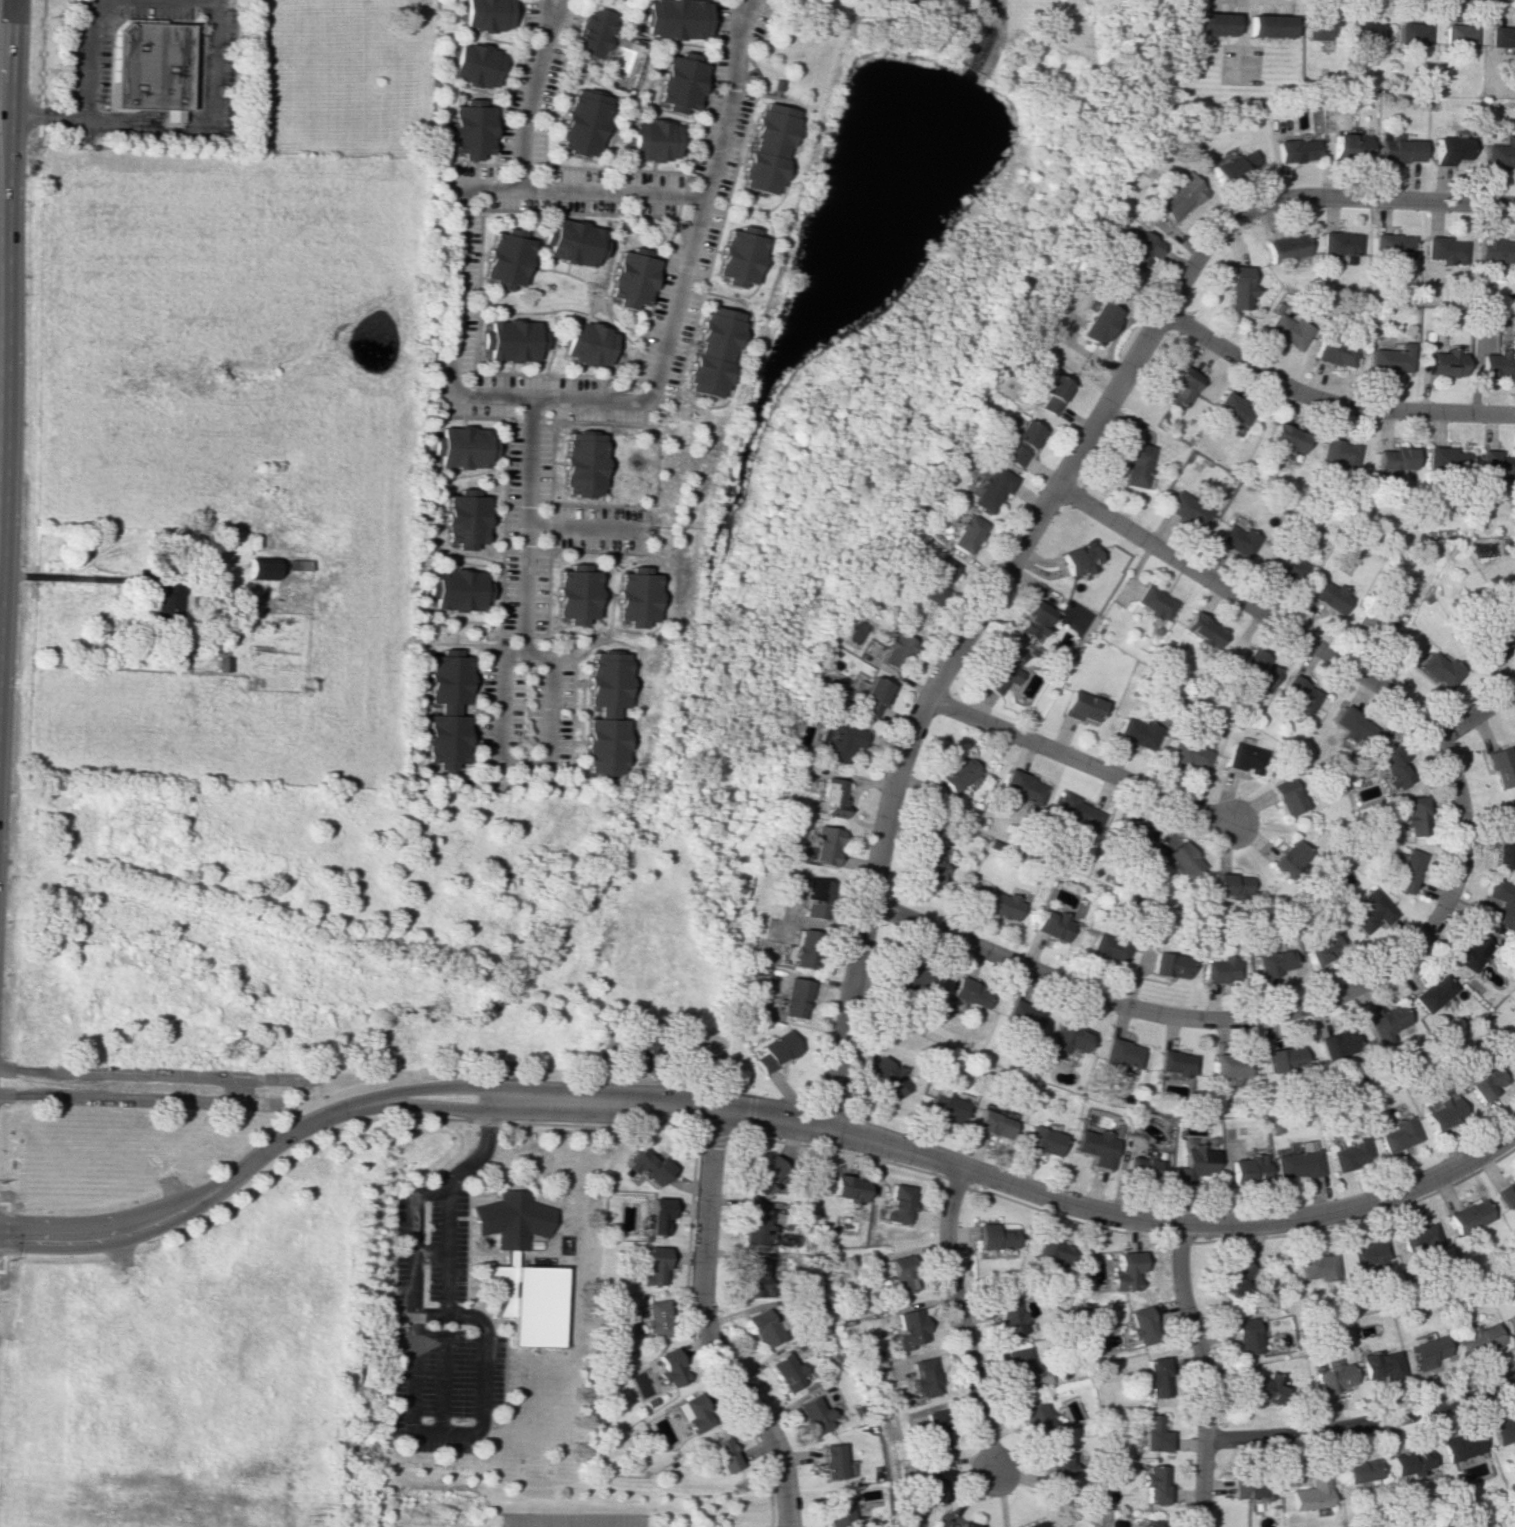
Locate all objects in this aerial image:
road: (551, 3)
road: (744, 4)
parking lot: (159, 9)
building: (483, 13)
building: (672, 18)
parking lot: (228, 25)
building: (1209, 28)
building: (1267, 29)
building: (1318, 32)
building: (588, 33)
building: (1366, 35)
building: (998, 36)
building: (1415, 37)
building: (1458, 37)
building: (1500, 39)
parking lot: (88, 54)
building: (472, 65)
building: (150, 67)
road: (40, 69)
parking lot: (227, 70)
parking lot: (532, 78)
building: (678, 83)
dam: (978, 83)
road: (530, 92)
road: (729, 97)
parking lot: (225, 112)
road: (42, 118)
building: (577, 123)
road: (1, 124)
road: (149, 128)
building: (468, 131)
building: (650, 140)
building: (1342, 143)
building: (765, 148)
building: (1288, 148)
building: (1395, 149)
building: (1447, 150)
building: (1500, 154)
road: (2, 161)
building: (1234, 165)
parking lot: (701, 199)
road: (1388, 199)
building: (1173, 201)
building: (571, 241)
building: (1335, 245)
building: (1389, 245)
building: (1440, 246)
building: (1490, 246)
building: (1280, 249)
building: (1134, 253)
building: (737, 256)
building: (503, 259)
building: (630, 279)
building: (1237, 287)
building: (1092, 324)
building: (1284, 331)
building: (508, 340)
building: (584, 345)
building: (711, 352)
building: (1331, 352)
building: (1379, 360)
building: (1438, 363)
building: (1493, 365)
road: (451, 368)
building: (1178, 389)
building: (1051, 398)
road: (1327, 403)
building: (1228, 411)
building: (1015, 440)
building: (1284, 440)
parking lot: (526, 443)
building: (460, 447)
building: (1335, 452)
building: (1445, 455)
building: (1389, 456)
building: (1494, 462)
building: (579, 463)
building: (1138, 464)
building: (991, 488)
building: (1186, 509)
building: (461, 519)
road: (575, 526)
building: (965, 532)
building: (1236, 540)
building: (1081, 559)
building: (298, 564)
building: (259, 568)
building: (1290, 571)
building: (935, 575)
building: (454, 591)
building: (570, 593)
building: (629, 594)
building: (1330, 596)
building: (1154, 602)
building: (167, 607)
building: (1513, 609)
building: (1034, 619)
building: (1376, 621)
building: (1202, 629)
road: (968, 630)
building: (1494, 645)
building: (884, 648)
road: (540, 658)
road: (1343, 662)
building: (1003, 668)
building: (1257, 671)
building: (1441, 671)
building: (1297, 694)
building: (866, 696)
building: (1082, 706)
parking lot: (523, 709)
building: (443, 710)
building: (601, 712)
road: (1475, 714)
building: (1351, 724)
building: (1138, 732)
building: (842, 740)
building: (1187, 753)
building: (1244, 758)
road: (1080, 763)
building: (1500, 766)
building: (1391, 768)
building: (956, 773)
building: (1022, 787)
building: (1286, 796)
building: (830, 797)
building: (1076, 813)
building: (1415, 815)
building: (1128, 830)
building: (821, 845)
building: (1506, 847)
building: (1289, 858)
building: (1183, 859)
building: (931, 865)
building: (1407, 871)
building: (1230, 885)
building: (809, 895)
building: (1503, 902)
building: (1002, 905)
building: (1371, 911)
building: (1324, 947)
building: (800, 948)
building: (1111, 949)
building: (1471, 952)
building: (1274, 962)
building: (1170, 965)
building: (1221, 969)
road: (1030, 970)
building: (910, 977)
building: (970, 992)
building: (1433, 993)
building: (794, 998)
road: (1319, 1004)
building: (1022, 1016)
building: (1387, 1022)
building: (1068, 1037)
building: (1337, 1045)
building: (753, 1049)
building: (774, 1050)
building: (1120, 1053)
building: (1512, 1058)
building: (1285, 1059)
building: (1175, 1062)
building: (1230, 1065)
building: (886, 1077)
building: (1487, 1082)
road: (542, 1094)
building: (946, 1105)
road: (542, 1110)
building: (1444, 1111)
building: (992, 1124)
building: (1399, 1134)
building: (1042, 1140)
road: (484, 1145)
building: (1095, 1147)
building: (1349, 1155)
building: (1194, 1162)
building: (1298, 1162)
road: (946, 1164)
building: (648, 1166)
building: (1143, 1166)
building: (1247, 1168)
building: (765, 1173)
building: (847, 1188)
road: (194, 1191)
building: (1507, 1194)
road: (429, 1195)
road: (1355, 1207)
building: (657, 1216)
building: (1469, 1216)
building: (755, 1226)
building: (994, 1237)
building: (1420, 1239)
building: (1051, 1252)
building: (1369, 1253)
building: (654, 1266)
building: (1318, 1266)
building: (520, 1270)
building: (1125, 1271)
building: (750, 1277)
building: (1233, 1277)
road: (410, 1312)
road: (459, 1315)
building: (1009, 1315)
building: (656, 1318)
road: (959, 1318)
building: (1511, 1321)
building: (1140, 1325)
parking lot: (437, 1327)
road: (704, 1328)
building: (762, 1328)
building: (909, 1328)
road: (426, 1332)
building: (1245, 1336)
building: (1478, 1337)
building: (1427, 1350)
building: (1378, 1365)
building: (670, 1367)
building: (1020, 1368)
building: (786, 1371)
road: (1202, 1374)
building: (1332, 1376)
building: (925, 1377)
building: (1155, 1377)
road: (441, 1382)
building: (1263, 1386)
building: (694, 1413)
building: (813, 1415)
building: (1036, 1419)
road: (1363, 1425)
building: (935, 1428)
building: (1502, 1429)
road: (437, 1431)
building: (1152, 1433)
building: (723, 1454)
building: (831, 1461)
building: (1408, 1462)
building: (1058, 1468)
building: (1359, 1470)
building: (933, 1484)
building: (1153, 1484)
building: (1249, 1489)
road: (768, 1490)
building: (1311, 1492)
building: (838, 1510)
parking lot: (570, 1519)
building: (1151, 1523)
building: (964, 1525)
building: (1030, 1525)
building: (1052, 1525)

